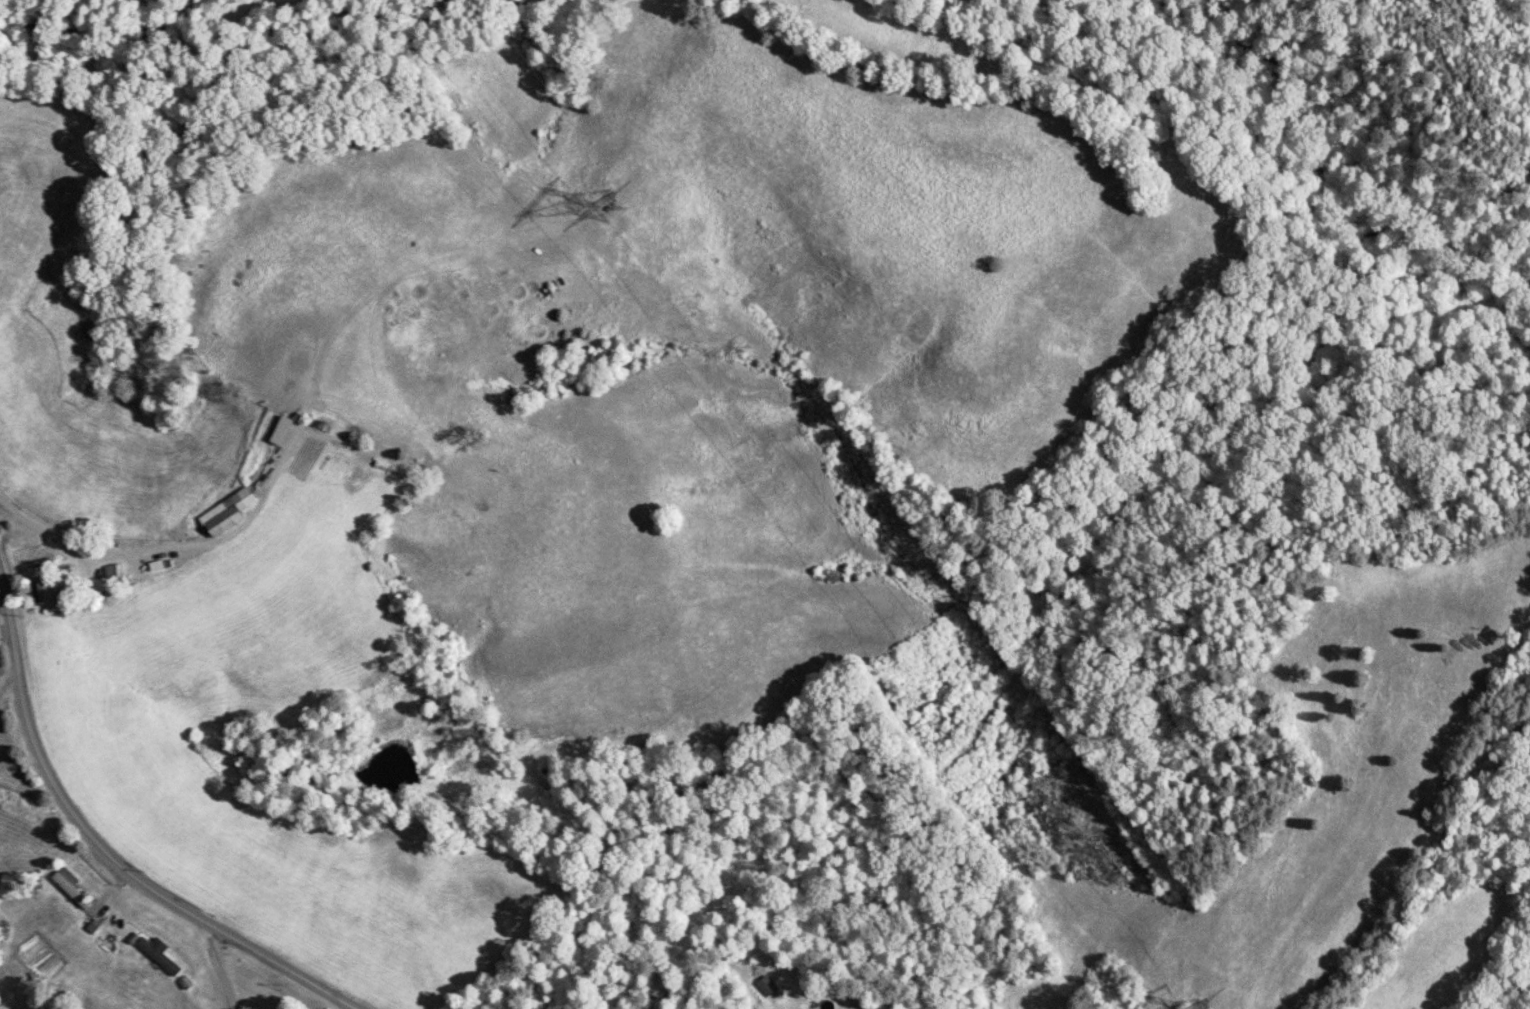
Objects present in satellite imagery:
power tower: (609, 209)
building: (280, 430)
building: (226, 512)
building: (53, 589)
road: (84, 827)
building: (70, 886)
building: (158, 954)
road: (220, 968)

